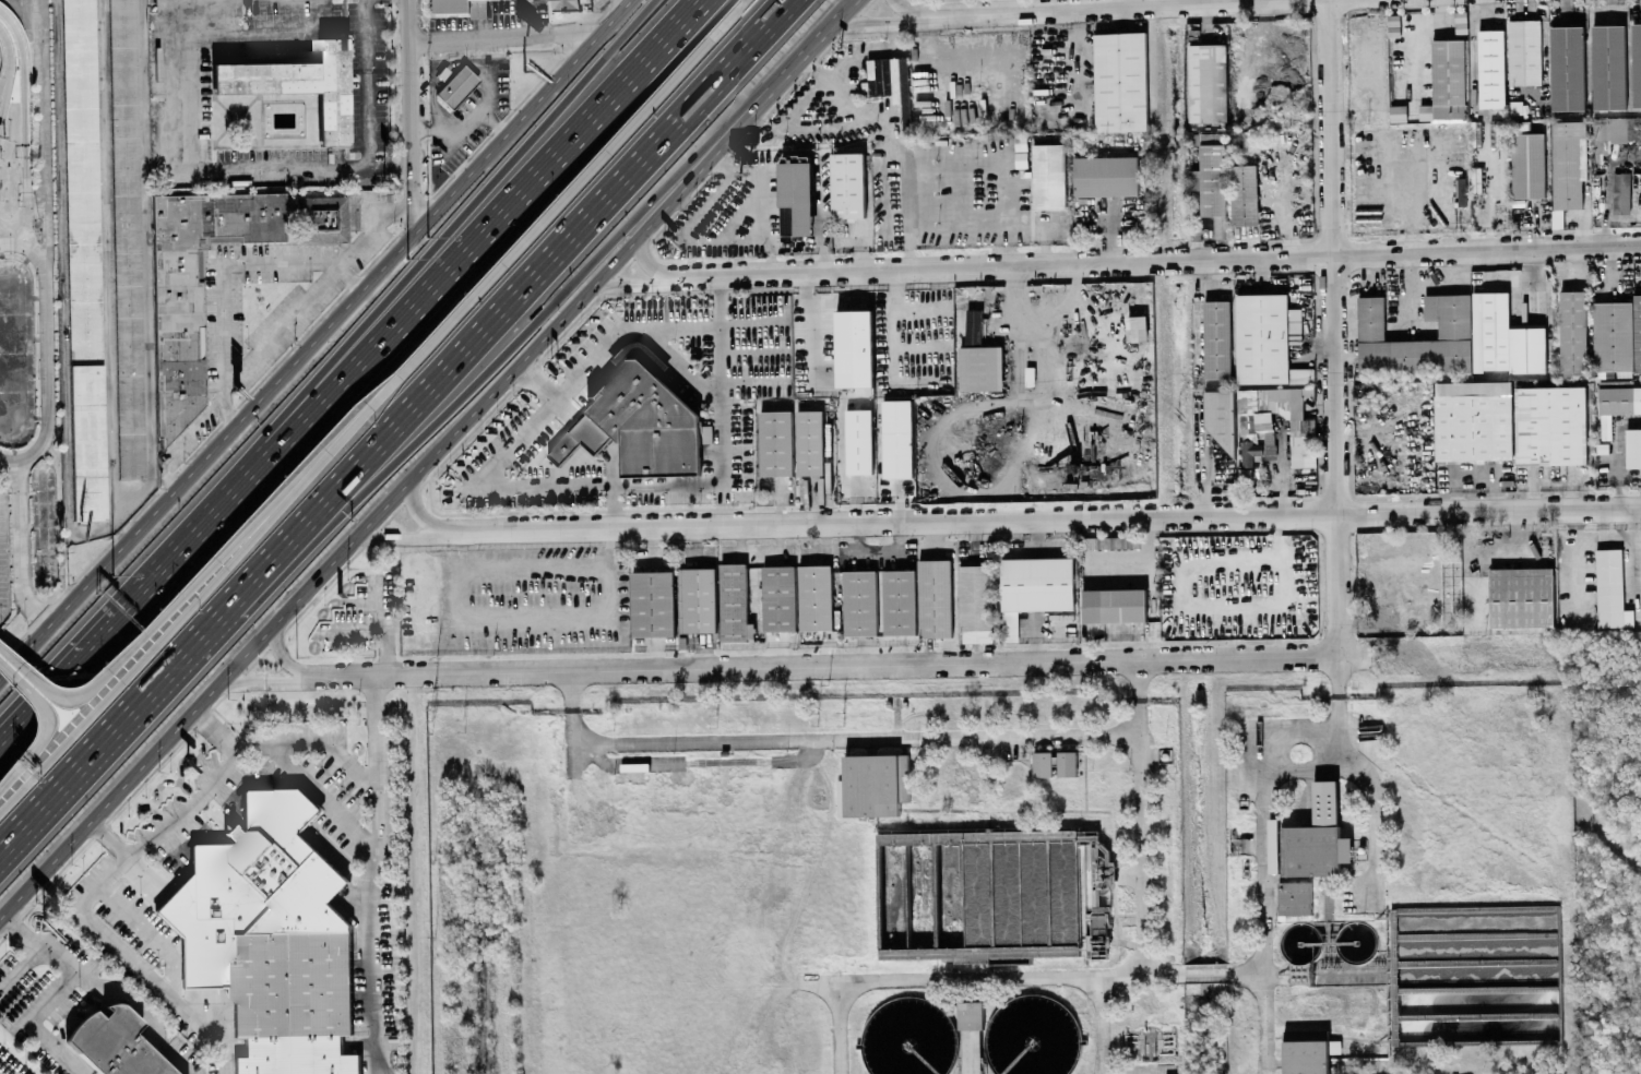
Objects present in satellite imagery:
road: (1132, 3)
building: (568, 5)
road: (1004, 5)
building: (462, 7)
road: (618, 7)
road: (1102, 8)
road: (906, 12)
road: (181, 17)
road: (726, 19)
building: (1461, 22)
road: (876, 24)
road: (267, 32)
road: (819, 32)
road: (503, 39)
road: (1545, 46)
building: (1524, 51)
parking lot: (0, 58)
road: (8, 64)
building: (1637, 64)
building: (1609, 67)
building: (1568, 68)
building: (1491, 69)
building: (440, 74)
building: (891, 82)
building: (1120, 82)
building: (1447, 82)
road: (367, 83)
building: (297, 84)
building: (455, 84)
road: (24, 103)
road: (481, 110)
road: (408, 114)
building: (1400, 115)
road: (881, 116)
road: (495, 123)
building: (1521, 126)
building: (1616, 129)
road: (438, 130)
building: (1500, 132)
road: (41, 133)
building: (1568, 163)
building: (1527, 165)
building: (1503, 169)
road: (228, 170)
building: (1048, 176)
building: (1105, 176)
building: (1194, 179)
building: (848, 184)
road: (1001, 184)
building: (1213, 189)
building: (1621, 190)
building: (1244, 194)
road: (354, 195)
building: (796, 198)
road: (764, 200)
road: (399, 211)
road: (1606, 214)
building: (321, 218)
building: (1557, 218)
road: (19, 219)
road: (23, 219)
road: (27, 226)
road: (451, 227)
road: (480, 232)
road: (16, 236)
road: (5, 237)
building: (127, 238)
road: (16, 244)
road: (38, 259)
building: (83, 259)
road: (109, 259)
road: (643, 259)
road: (1152, 263)
road: (62, 266)
road: (496, 267)
road: (224, 270)
road: (350, 276)
road: (625, 285)
building: (194, 288)
road: (147, 291)
road: (513, 307)
road: (342, 312)
building: (973, 327)
building: (1137, 327)
road: (1334, 327)
building: (1454, 330)
road: (622, 331)
building: (1573, 332)
building: (1618, 336)
road: (510, 337)
building: (1505, 337)
road: (269, 338)
building: (1217, 338)
building: (1268, 339)
road: (1048, 346)
building: (855, 353)
building: (980, 368)
road: (47, 371)
building: (1617, 402)
road: (228, 407)
road: (722, 407)
building: (1473, 420)
building: (1259, 423)
building: (638, 425)
building: (1550, 426)
building: (897, 441)
building: (859, 443)
building: (810, 444)
building: (776, 445)
building: (1633, 448)
road: (7, 456)
road: (1202, 458)
road: (667, 485)
road: (489, 487)
road: (396, 494)
road: (414, 510)
road: (1036, 521)
road: (395, 535)
road: (19, 548)
parking lot: (3, 554)
building: (1034, 588)
building: (1610, 589)
building: (1521, 596)
building: (814, 597)
building: (778, 598)
building: (935, 598)
building: (699, 599)
road: (433, 604)
building: (653, 604)
building: (734, 604)
building: (900, 604)
building: (975, 604)
building: (860, 605)
road: (130, 606)
building: (1114, 606)
road: (580, 612)
road: (354, 626)
road: (379, 626)
road: (145, 628)
road: (32, 646)
road: (141, 652)
road: (280, 658)
road: (841, 665)
road: (5, 666)
road: (5, 672)
road: (265, 681)
road: (572, 707)
road: (1339, 711)
road: (41, 724)
road: (217, 726)
road: (1300, 730)
road: (116, 736)
road: (857, 738)
road: (316, 742)
building: (1042, 763)
building: (1067, 763)
road: (1300, 767)
building: (872, 785)
road: (323, 793)
building: (391, 798)
road: (1143, 816)
road: (1372, 822)
road: (163, 830)
building: (1311, 838)
road: (109, 839)
road: (371, 874)
wastewater plant: (1010, 882)
building: (1294, 897)
road: (1264, 903)
building: (138, 919)
road: (147, 931)
building: (270, 936)
road: (21, 967)
road: (1303, 971)
road: (1206, 974)
road: (990, 978)
road: (107, 985)
road: (166, 985)
road: (45, 1001)
building: (970, 1014)
road: (1109, 1025)
road: (840, 1027)
building: (114, 1043)
building: (1334, 1046)
road: (55, 1047)
building: (1305, 1054)

